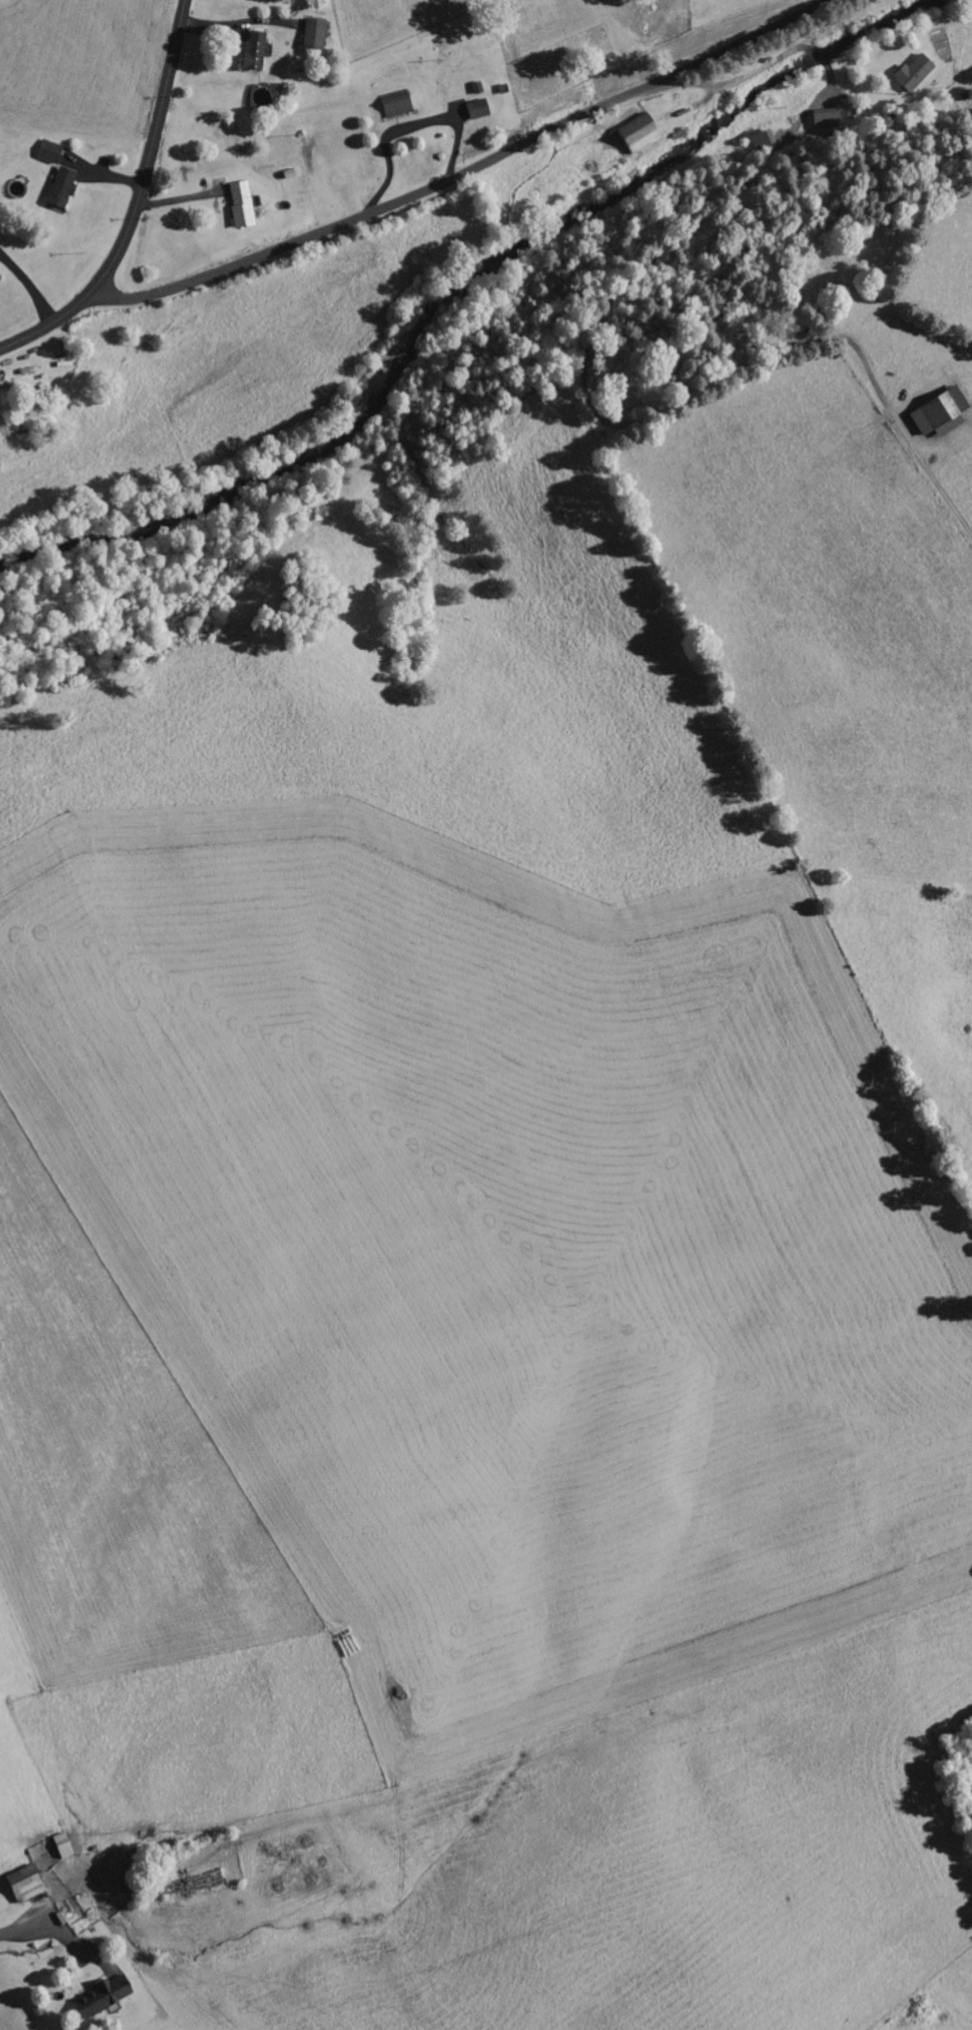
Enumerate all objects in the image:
building: (317, 32)
building: (256, 50)
building: (916, 71)
building: (398, 102)
building: (480, 108)
building: (828, 119)
building: (641, 132)
building: (51, 151)
road: (464, 174)
building: (64, 186)
road: (136, 203)
building: (244, 203)
building: (943, 412)
building: (3, 425)
building: (65, 1844)
building: (28, 1883)
road: (5, 1938)
building: (106, 1995)

